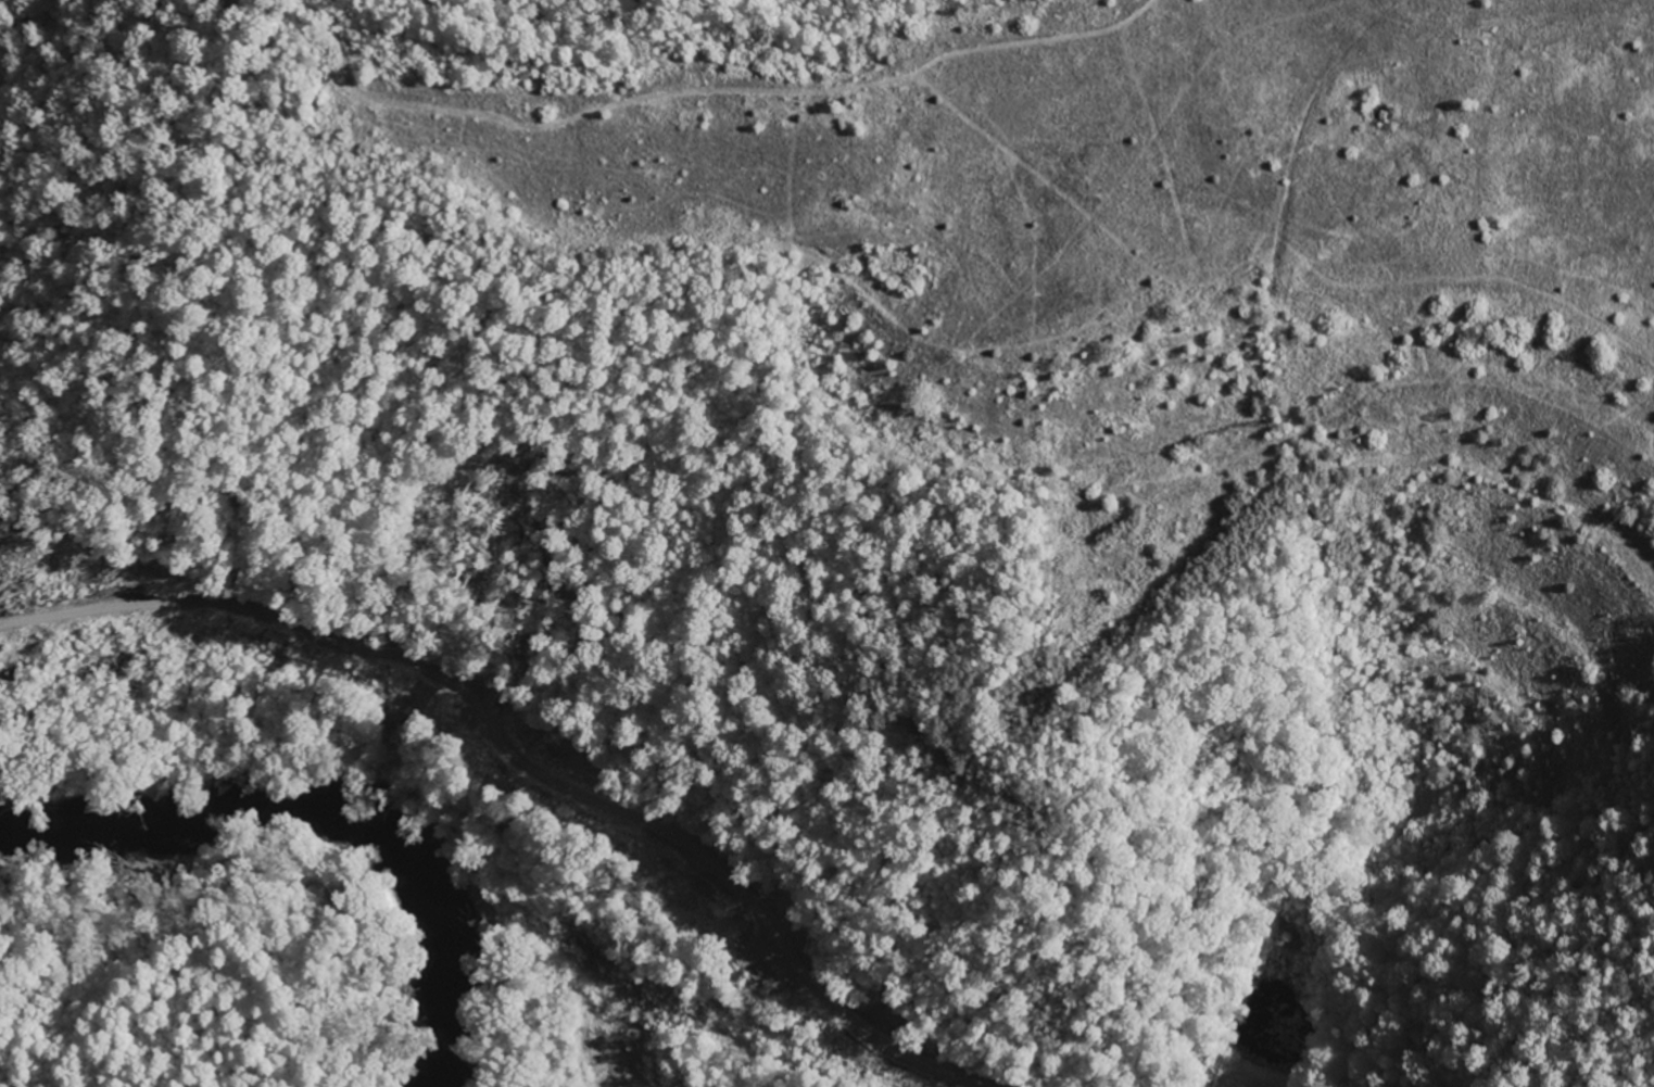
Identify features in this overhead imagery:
road: (521, 759)
river: (319, 835)

